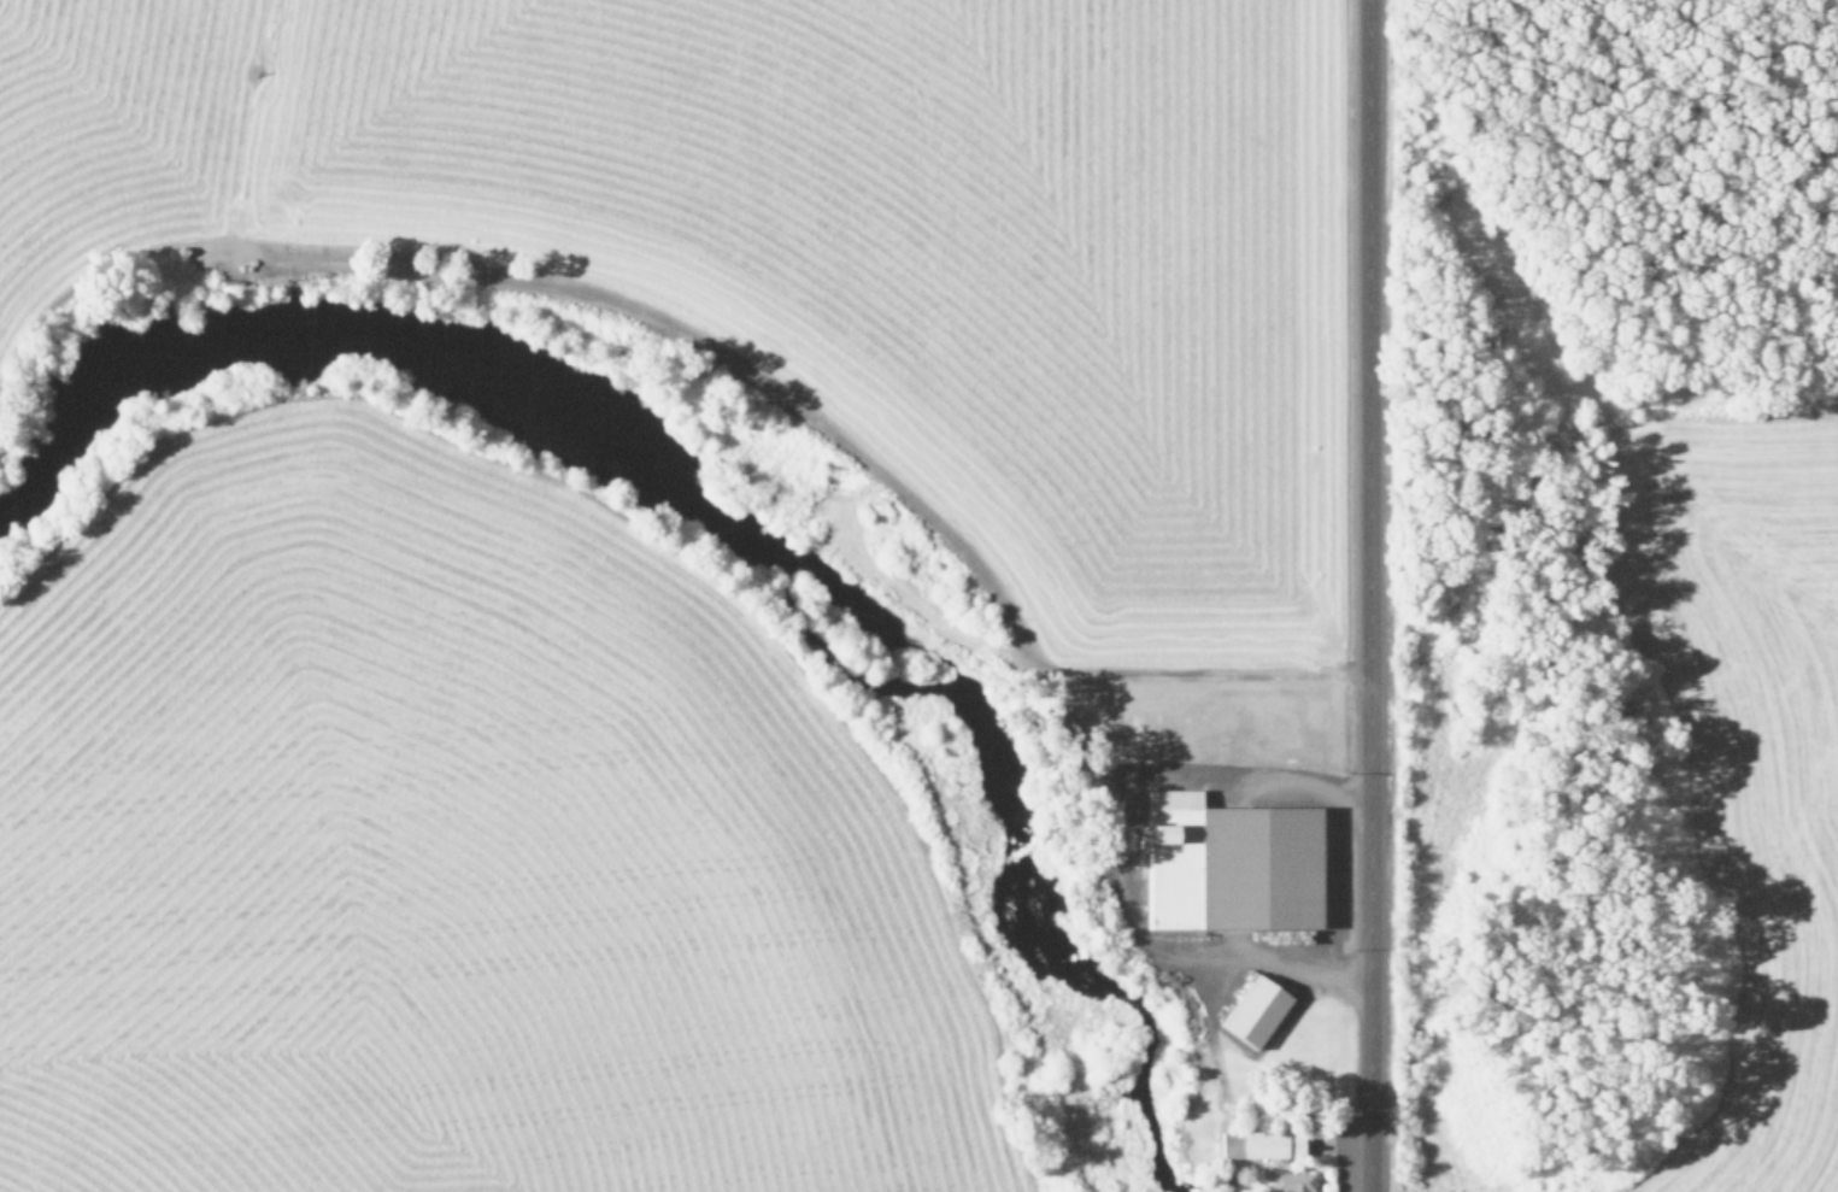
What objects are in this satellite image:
road: (1358, 595)
crop: (435, 845)
building: (1225, 865)
building: (1250, 1012)
building: (1257, 1146)
building: (1285, 1182)

